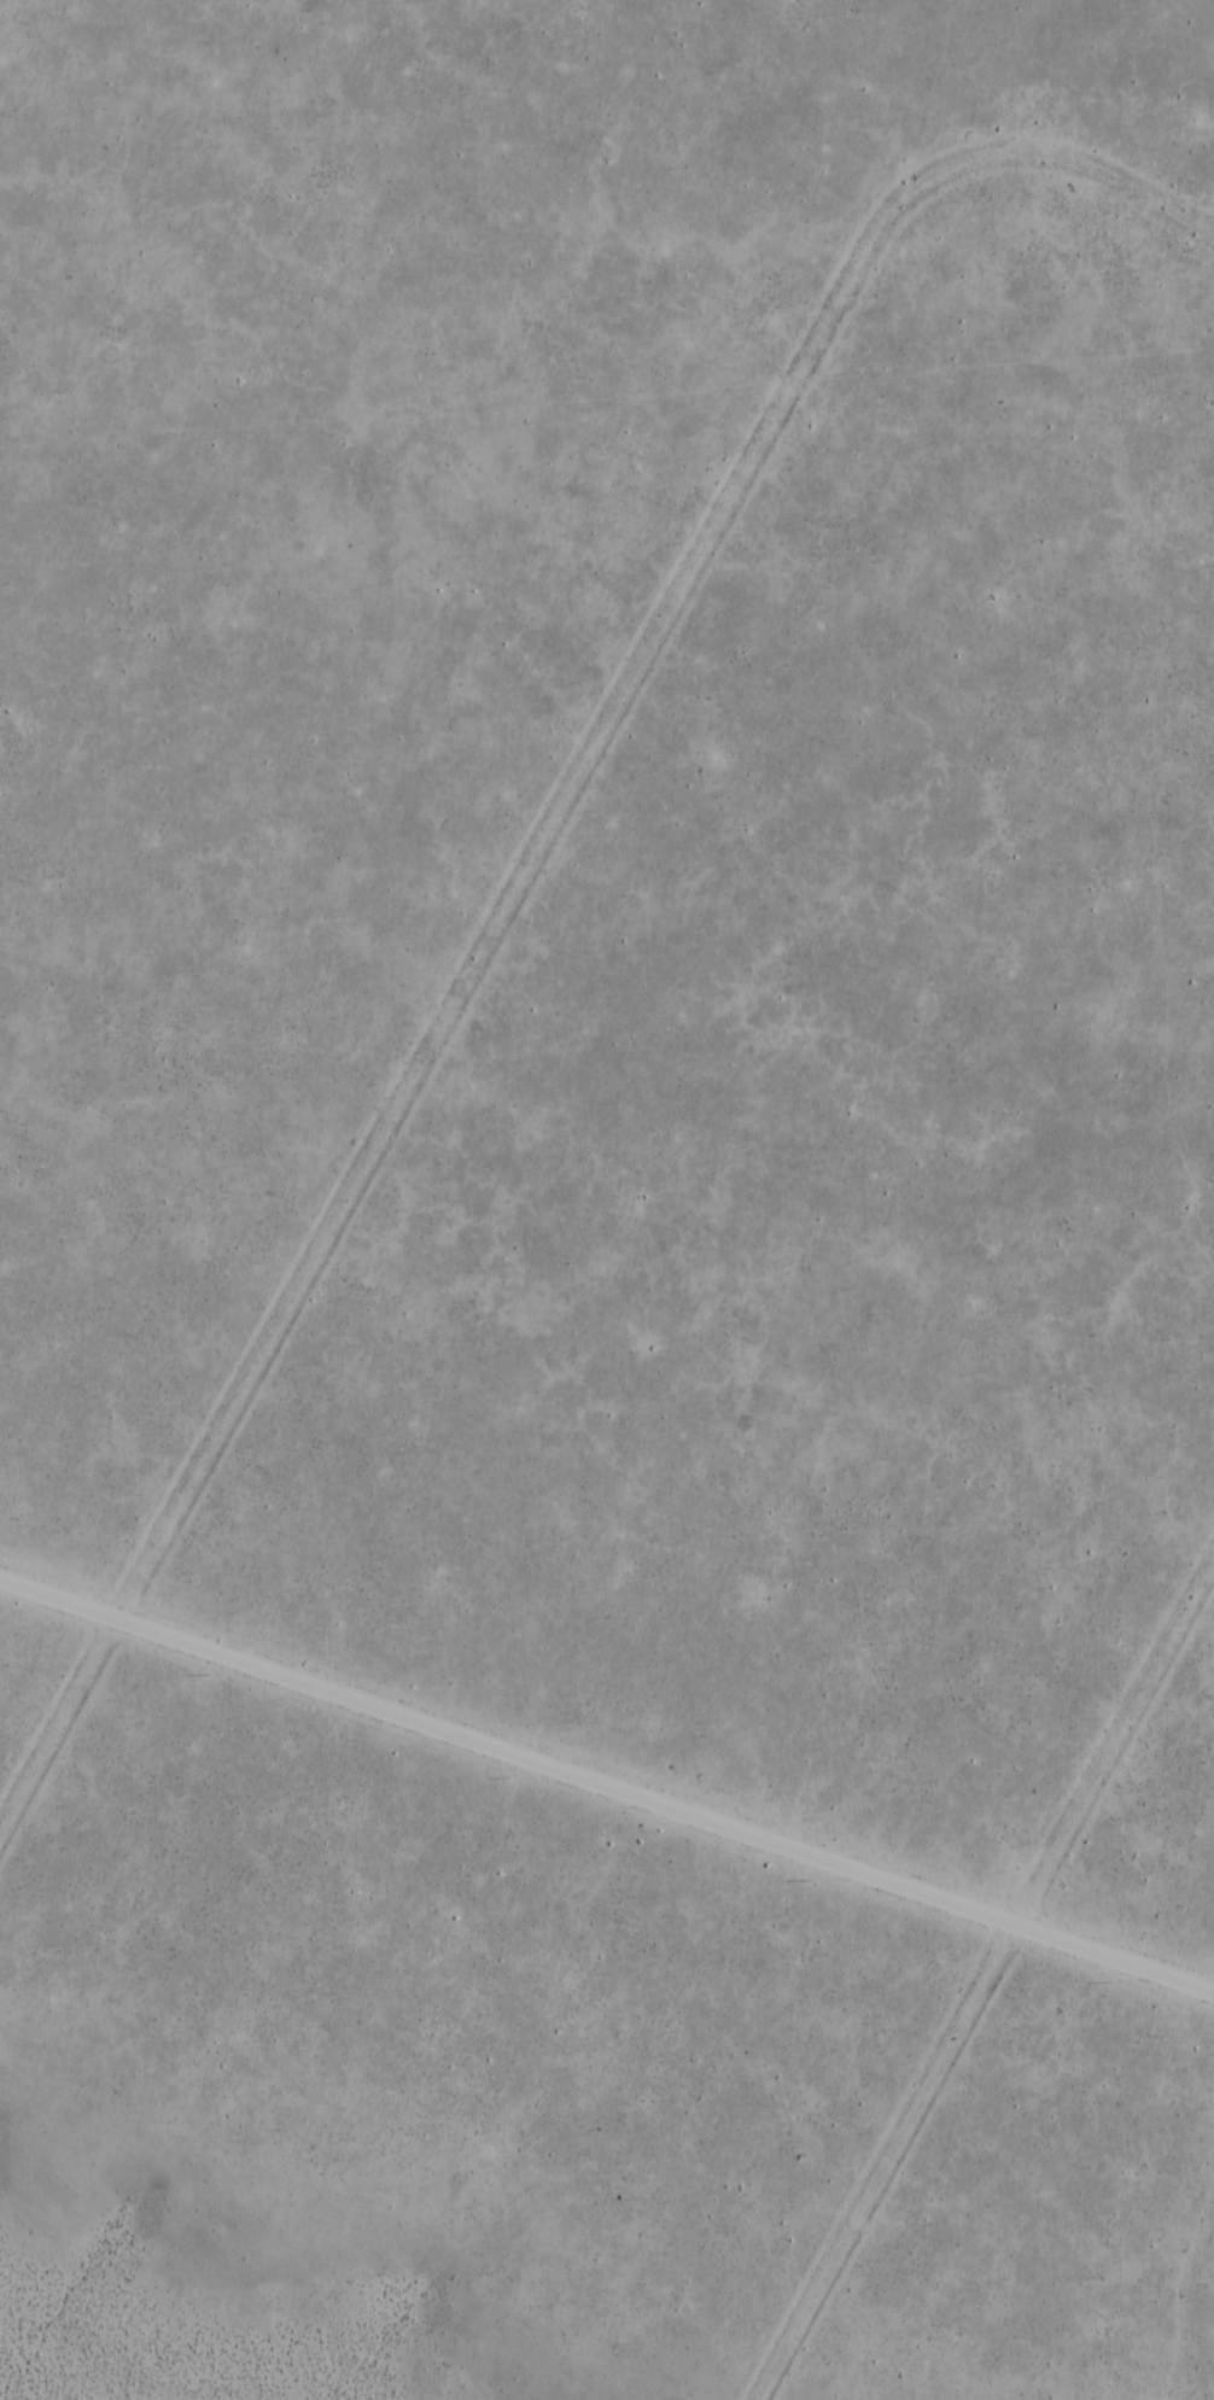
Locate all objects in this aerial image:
road: (521, 862)
road: (606, 1799)
road: (982, 1981)

